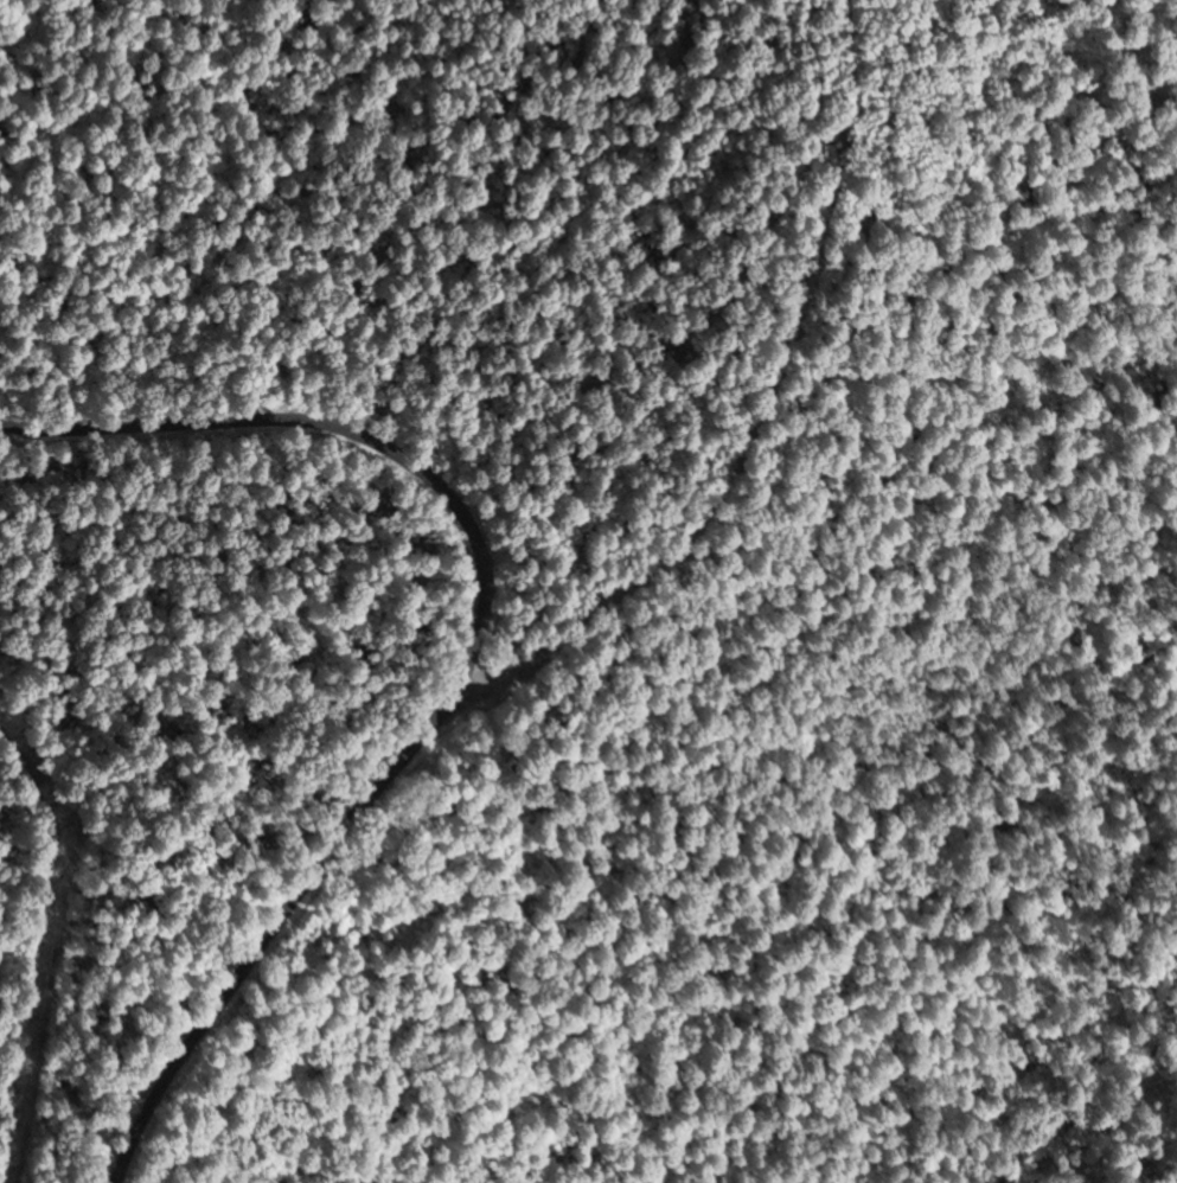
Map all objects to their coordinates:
road: (760, 418)
road: (339, 428)
road: (267, 928)

